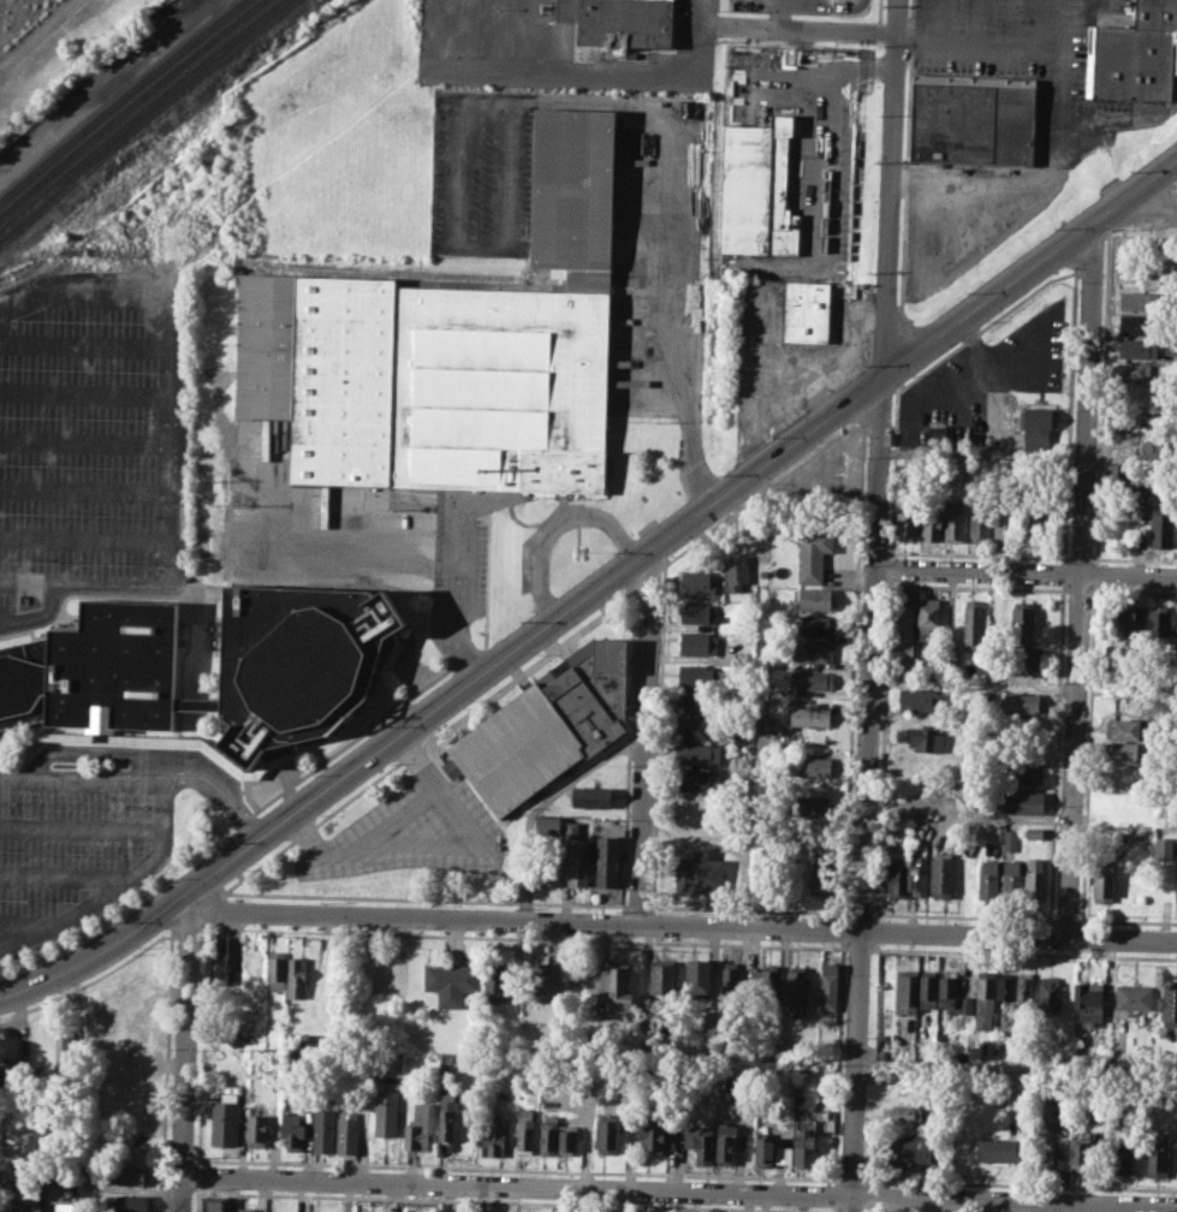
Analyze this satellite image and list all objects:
road: (799, 1)
road: (827, 8)
road: (1068, 12)
building: (623, 23)
road: (795, 29)
road: (38, 32)
road: (939, 47)
building: (1137, 54)
road: (608, 76)
railway: (119, 97)
railway: (129, 105)
railway: (139, 113)
building: (973, 121)
road: (1060, 139)
road: (822, 173)
road: (888, 188)
building: (757, 190)
road: (1148, 212)
road: (1028, 266)
building: (1139, 299)
building: (810, 311)
road: (689, 322)
building: (1139, 323)
road: (85, 345)
building: (1137, 347)
building: (456, 356)
building: (1137, 370)
building: (1038, 392)
road: (84, 394)
building: (1135, 394)
parking lot: (937, 406)
building: (1036, 417)
building: (1136, 421)
parking lot: (90, 439)
building: (1038, 440)
road: (84, 445)
road: (168, 447)
building: (1151, 448)
building: (1117, 476)
road: (84, 494)
building: (1036, 515)
building: (955, 521)
road: (553, 522)
building: (931, 522)
building: (906, 523)
building: (1005, 523)
building: (1161, 525)
building: (979, 527)
building: (1176, 534)
road: (83, 540)
building: (813, 553)
road: (292, 559)
building: (736, 571)
road: (1026, 575)
building: (696, 581)
road: (1078, 581)
road: (454, 594)
building: (815, 598)
building: (697, 611)
building: (1022, 617)
building: (928, 619)
building: (818, 623)
building: (973, 623)
building: (1158, 625)
building: (1134, 626)
building: (1175, 628)
building: (902, 630)
building: (696, 642)
building: (812, 650)
building: (949, 658)
building: (1026, 658)
building: (90, 671)
building: (695, 675)
building: (810, 678)
building: (916, 699)
building: (696, 703)
building: (1021, 703)
road: (450, 705)
building: (810, 714)
building: (1028, 721)
building: (694, 727)
building: (543, 729)
building: (1122, 729)
building: (741, 737)
building: (927, 739)
road: (646, 741)
building: (1122, 751)
road: (115, 753)
building: (695, 754)
building: (810, 765)
building: (1022, 773)
road: (144, 779)
building: (690, 780)
road: (866, 792)
building: (590, 796)
building: (915, 797)
road: (543, 801)
building: (1021, 801)
building: (813, 806)
building: (547, 825)
road: (381, 826)
road: (81, 828)
building: (570, 828)
building: (1035, 832)
building: (1009, 839)
parking lot: (76, 845)
building: (793, 846)
building: (1164, 848)
building: (967, 849)
building: (606, 860)
building: (578, 861)
building: (549, 862)
building: (700, 872)
building: (822, 872)
building: (896, 873)
building: (943, 874)
building: (919, 875)
building: (1035, 878)
road: (63, 879)
building: (988, 879)
building: (1012, 879)
building: (1104, 881)
building: (1176, 887)
road: (114, 889)
road: (679, 925)
road: (23, 926)
building: (218, 958)
building: (277, 970)
building: (545, 975)
building: (297, 976)
building: (697, 976)
building: (661, 979)
building: (450, 981)
building: (616, 984)
building: (731, 984)
building: (768, 984)
building: (1026, 984)
building: (827, 985)
building: (495, 986)
building: (1004, 987)
building: (797, 988)
building: (927, 988)
building: (947, 988)
building: (905, 991)
building: (1050, 993)
building: (1133, 997)
building: (983, 999)
building: (1087, 1000)
building: (1169, 1003)
building: (66, 1054)
road: (182, 1056)
road: (1016, 1069)
building: (13, 1077)
building: (408, 1091)
building: (1000, 1092)
building: (385, 1111)
building: (447, 1112)
building: (902, 1112)
building: (225, 1118)
building: (421, 1127)
building: (292, 1129)
building: (525, 1129)
building: (257, 1130)
building: (323, 1130)
building: (347, 1130)
building: (607, 1134)
building: (493, 1135)
building: (548, 1135)
building: (566, 1137)
building: (656, 1137)
building: (702, 1142)
building: (725, 1143)
building: (803, 1147)
building: (995, 1148)
building: (763, 1151)
building: (898, 1151)
building: (1081, 1153)
building: (783, 1154)
building: (1120, 1154)
building: (1059, 1160)
building: (1157, 1161)
building: (132, 1175)
road: (677, 1190)
building: (212, 1202)
building: (126, 1204)
building: (8, 1208)
building: (245, 1210)
building: (305, 1211)

